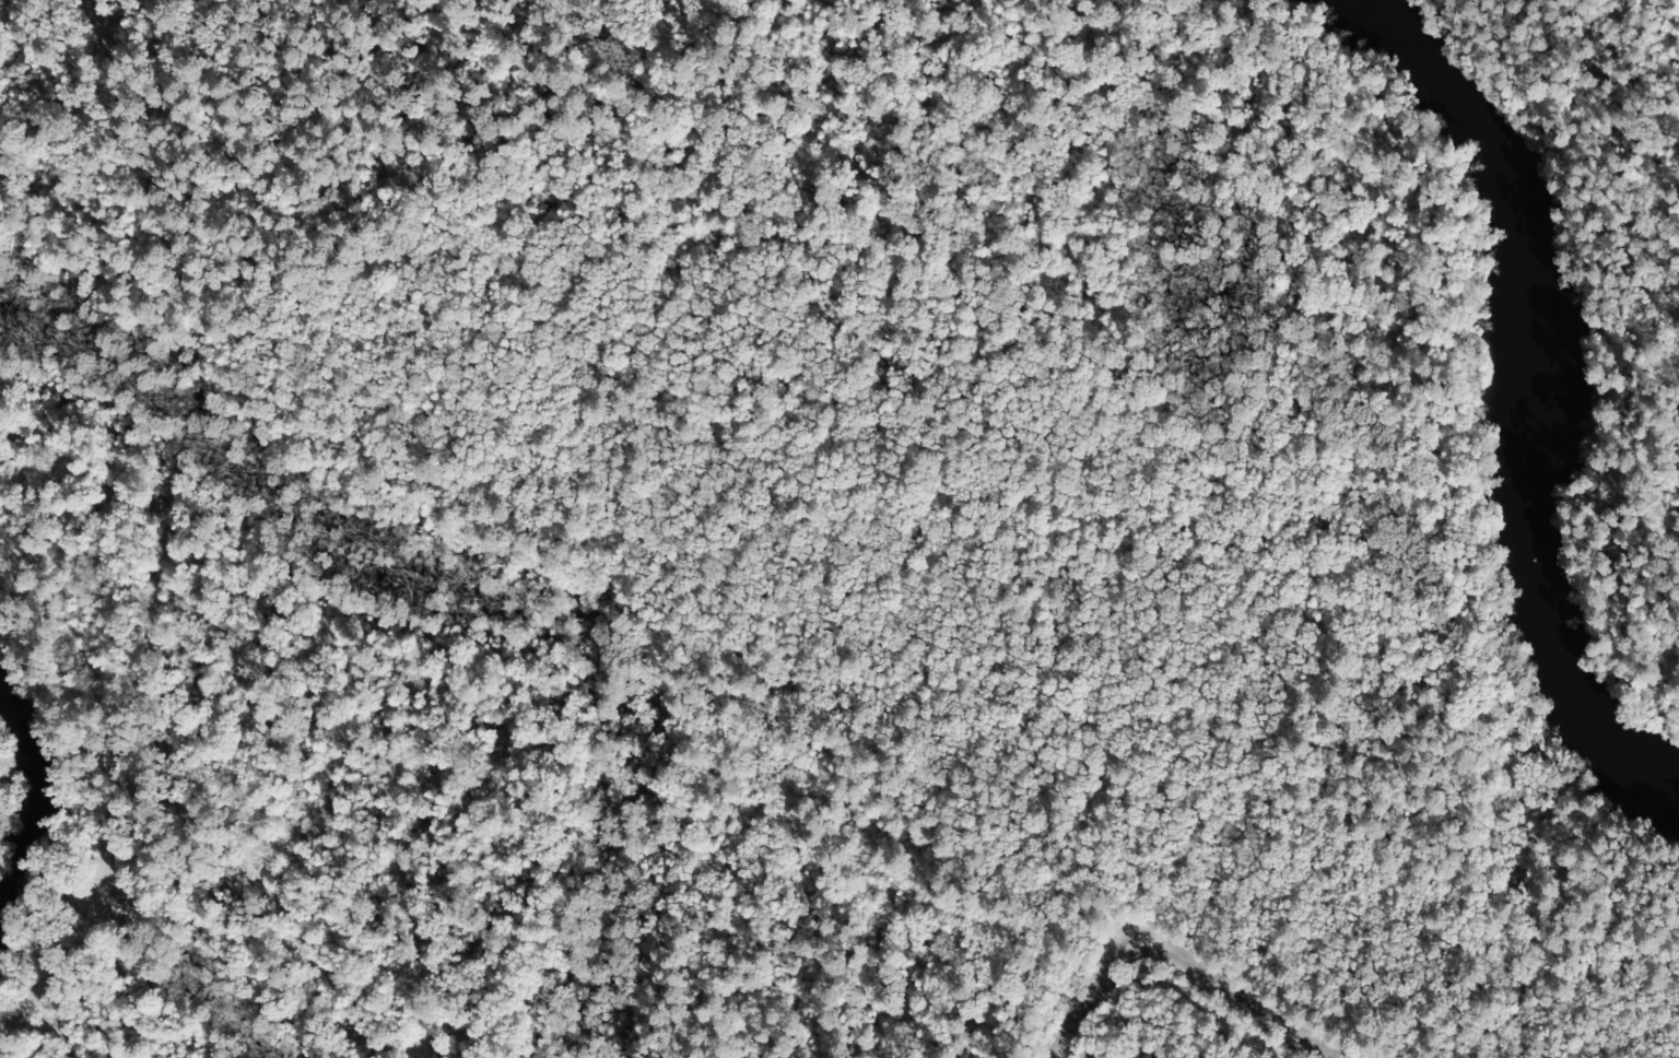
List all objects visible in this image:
river: (1515, 396)
river: (30, 804)
road: (1208, 968)
road: (1061, 1024)

